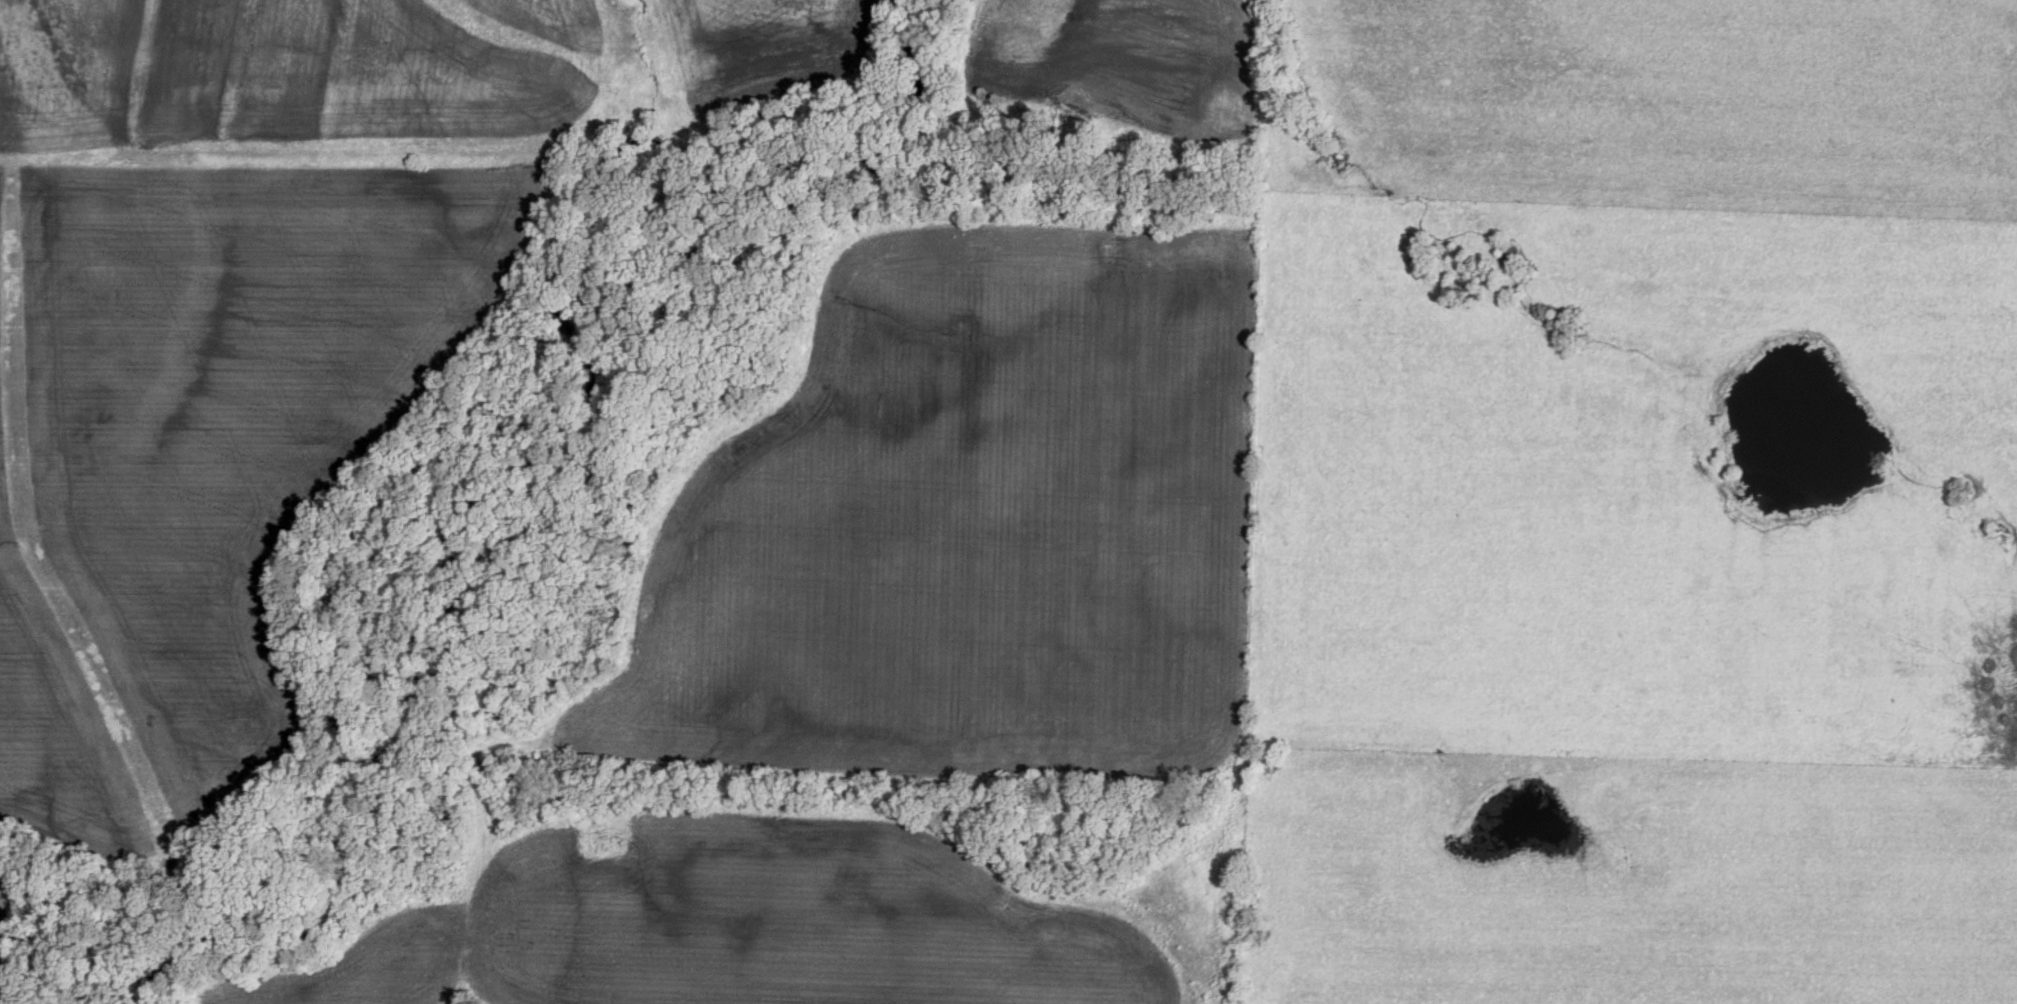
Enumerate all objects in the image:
crop: (314, 80)
crop: (14, 938)

